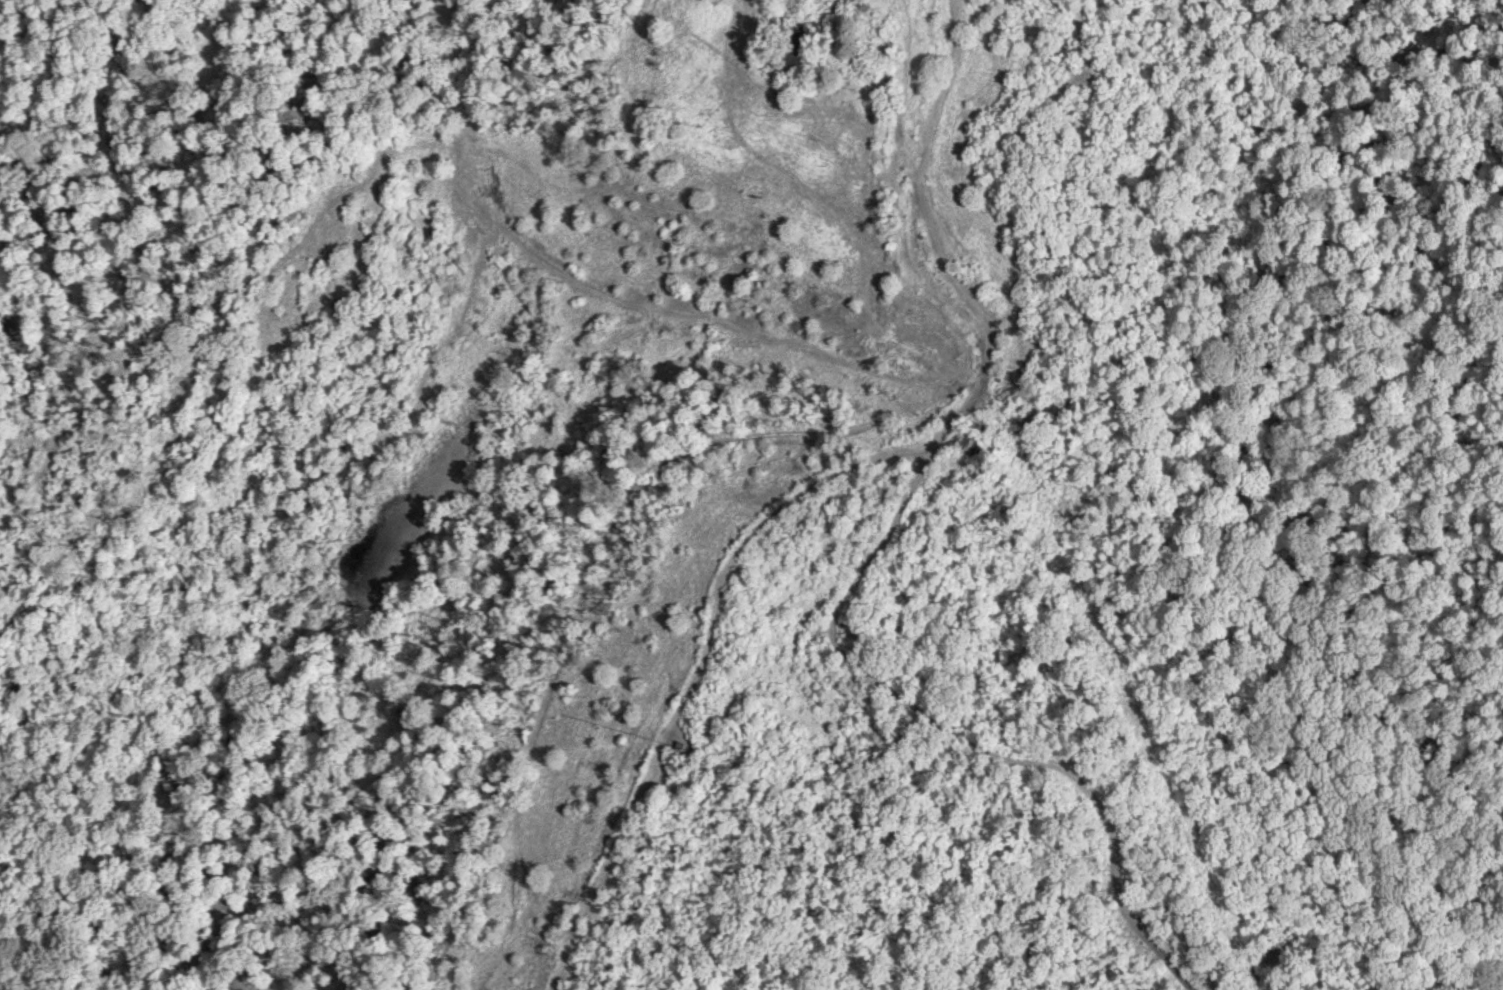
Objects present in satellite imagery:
building: (799, 56)
road: (883, 190)
road: (1029, 341)
road: (891, 716)

